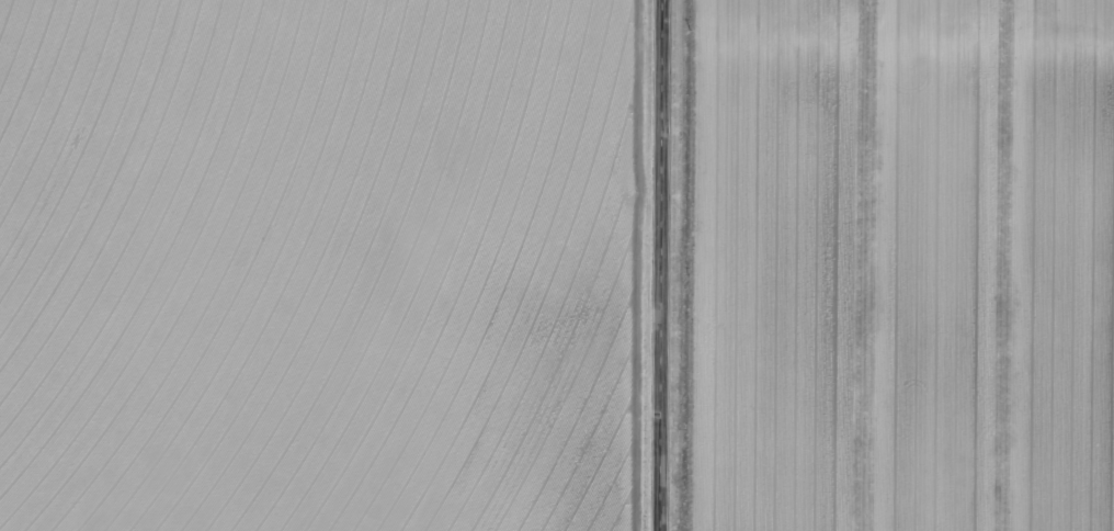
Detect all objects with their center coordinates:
road: (661, 265)

